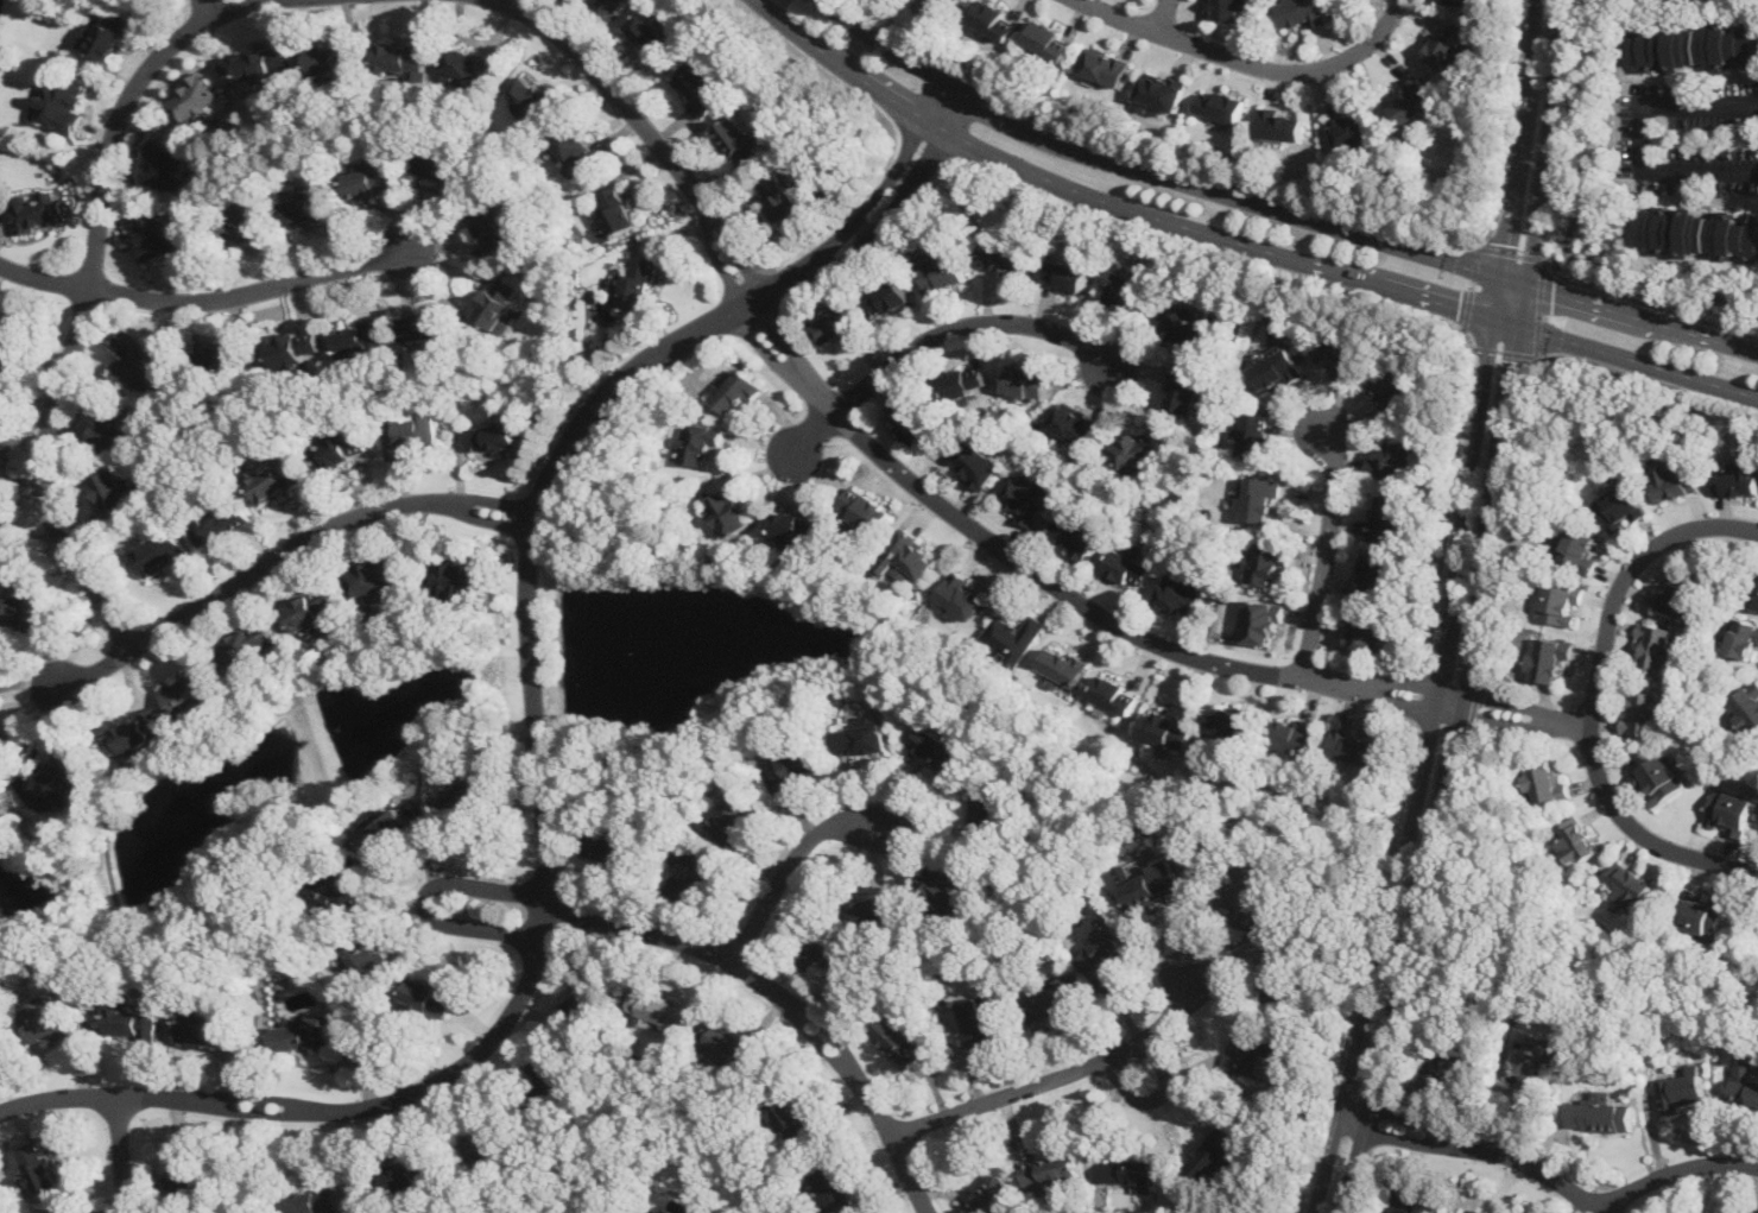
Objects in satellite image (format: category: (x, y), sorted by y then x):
building: (956, 1)
building: (1461, 1)
building: (942, 2)
building: (607, 5)
road: (207, 7)
building: (1225, 8)
building: (1301, 12)
road: (1163, 15)
building: (994, 18)
building: (108, 31)
building: (654, 36)
building: (1050, 38)
building: (1446, 44)
building: (1694, 46)
building: (404, 56)
building: (335, 58)
building: (268, 61)
road: (1250, 62)
building: (468, 67)
building: (1106, 68)
building: (700, 87)
building: (1161, 91)
building: (527, 97)
building: (1412, 99)
building: (198, 101)
building: (57, 103)
building: (1221, 103)
building: (1280, 124)
building: (1352, 128)
road: (649, 131)
road: (1642, 132)
road: (1532, 139)
building: (741, 140)
building: (574, 153)
building: (166, 164)
building: (441, 164)
building: (372, 179)
road: (1270, 190)
building: (785, 202)
building: (311, 206)
road: (1277, 208)
building: (616, 210)
building: (36, 211)
building: (251, 226)
building: (495, 227)
road: (1572, 228)
building: (1697, 230)
building: (160, 234)
road: (1238, 240)
road: (1511, 251)
building: (1004, 258)
building: (943, 272)
building: (1065, 274)
road: (45, 278)
building: (634, 284)
road: (1472, 285)
building: (1126, 288)
road: (257, 291)
road: (88, 299)
building: (498, 299)
building: (889, 299)
road: (1511, 302)
road: (1648, 303)
road: (1539, 307)
road: (966, 323)
building: (425, 326)
building: (834, 327)
building: (1184, 328)
road: (1469, 335)
building: (362, 336)
building: (11, 345)
building: (298, 347)
road: (1505, 350)
building: (1341, 355)
building: (139, 356)
building: (223, 358)
building: (1276, 371)
road: (1648, 378)
building: (965, 380)
building: (1027, 380)
building: (1182, 390)
building: (736, 391)
building: (1391, 391)
road: (586, 419)
building: (909, 421)
building: (1074, 423)
building: (114, 425)
building: (409, 430)
building: (1256, 434)
building: (494, 436)
road: (809, 436)
building: (1165, 436)
building: (698, 444)
building: (343, 447)
building: (1138, 448)
building: (1393, 456)
building: (975, 465)
building: (278, 476)
building: (1738, 480)
building: (1672, 482)
building: (1, 485)
building: (119, 493)
building: (1027, 497)
building: (1261, 499)
building: (864, 507)
building: (1619, 508)
building: (726, 512)
building: (1385, 514)
road: (1504, 518)
building: (221, 522)
building: (1, 523)
building: (792, 525)
building: (1075, 535)
road: (1328, 548)
building: (1580, 550)
road: (283, 551)
building: (162, 552)
building: (908, 557)
building: (1265, 562)
building: (1128, 567)
building: (1376, 571)
building: (373, 575)
building: (459, 577)
road: (1055, 582)
building: (1678, 593)
building: (1180, 594)
building: (963, 596)
building: (1757, 600)
building: (1560, 602)
building: (32, 606)
building: (310, 608)
building: (1264, 621)
building: (1016, 632)
building: (1365, 633)
building: (1743, 636)
building: (249, 643)
building: (1655, 645)
building: (1548, 657)
building: (1064, 663)
building: (190, 693)
building: (1113, 693)
road: (1594, 696)
building: (1746, 707)
road: (1474, 708)
road: (1519, 713)
building: (1644, 713)
building: (1232, 721)
building: (1168, 731)
building: (1295, 733)
building: (138, 737)
building: (7, 738)
building: (862, 738)
building: (1354, 744)
building: (940, 747)
building: (791, 767)
road: (1434, 772)
building: (61, 779)
building: (1657, 779)
building: (1544, 781)
building: (468, 791)
building: (986, 809)
building: (1729, 810)
building: (734, 815)
building: (390, 829)
building: (611, 840)
building: (1575, 841)
road: (789, 863)
building: (700, 872)
building: (1151, 882)
building: (1630, 886)
building: (341, 887)
building: (943, 887)
building: (1247, 895)
road: (424, 899)
road: (183, 903)
building: (875, 909)
road: (1429, 914)
building: (1702, 914)
building: (1104, 948)
building: (821, 949)
building: (367, 956)
building: (1277, 977)
building: (430, 996)
road: (786, 999)
building: (1052, 1000)
building: (589, 1002)
building: (660, 1010)
building: (50, 1019)
building: (129, 1019)
building: (980, 1019)
building: (207, 1026)
building: (306, 1032)
building: (900, 1036)
building: (728, 1042)
building: (1253, 1051)
building: (1452, 1060)
building: (1525, 1073)
road: (1062, 1074)
building: (1744, 1081)
building: (1681, 1088)
building: (544, 1092)
road: (323, 1110)
building: (789, 1112)
road: (665, 1113)
building: (1599, 1116)
road: (1376, 1119)
building: (482, 1144)
road: (1484, 1149)
building: (1216, 1150)
road: (121, 1155)
road: (260, 1160)
building: (184, 1167)
building: (40, 1168)
building: (1052, 1169)
road: (728, 1170)
building: (1133, 1170)
road: (1674, 1173)
building: (407, 1176)
road: (1359, 1180)
building: (835, 1189)
building: (989, 1195)
building: (316, 1199)
building: (1414, 1205)
road: (1579, 1205)
building: (1479, 1211)

